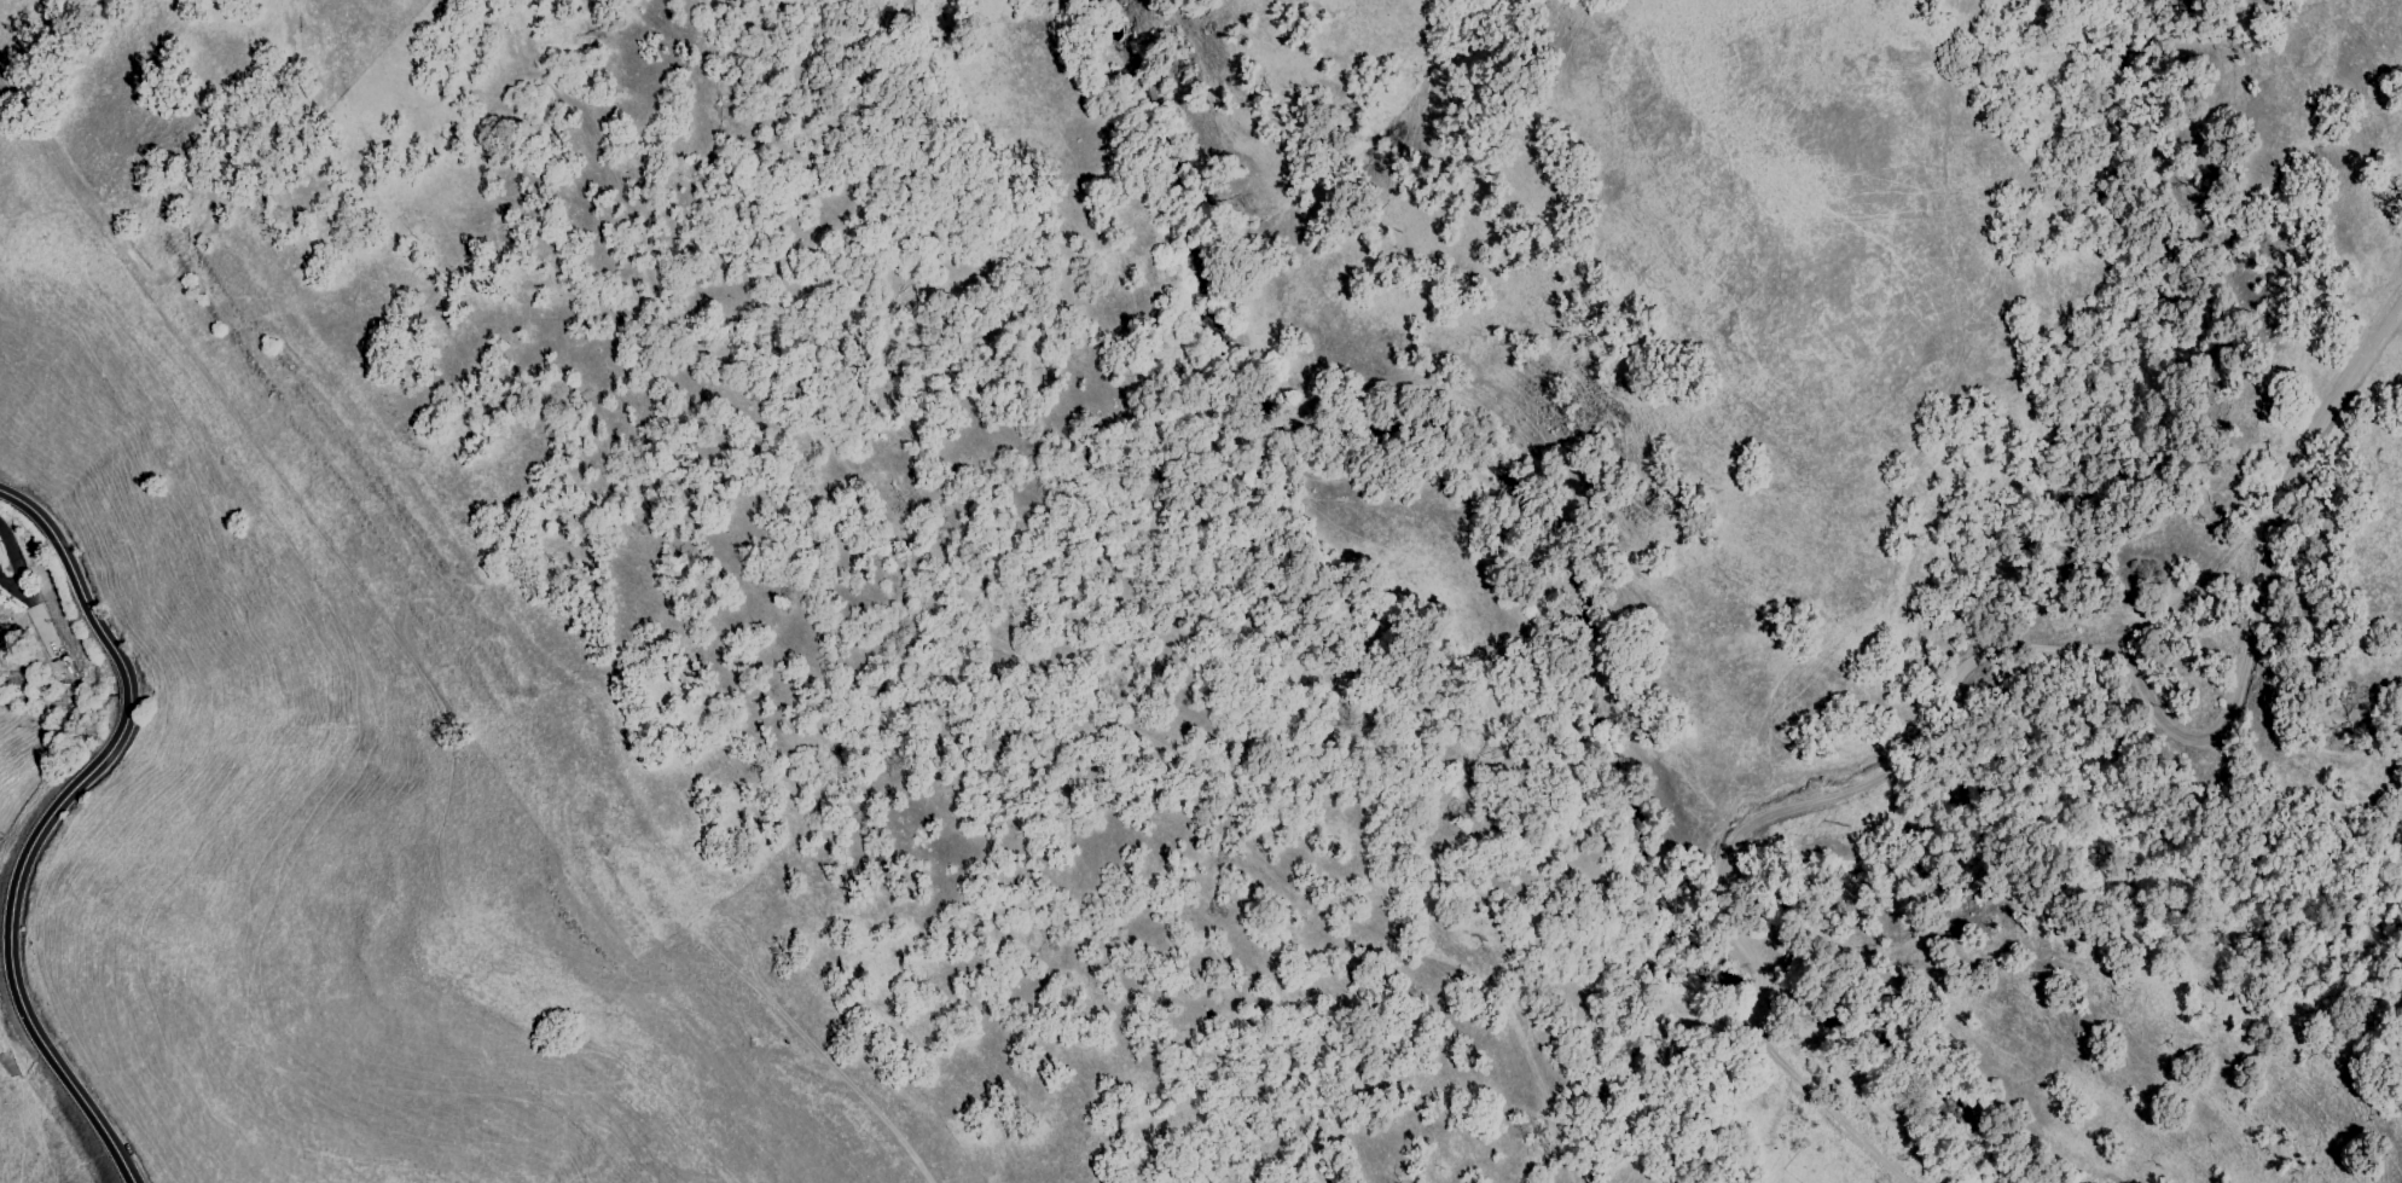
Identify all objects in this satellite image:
road: (1991, 651)
road: (46, 819)

